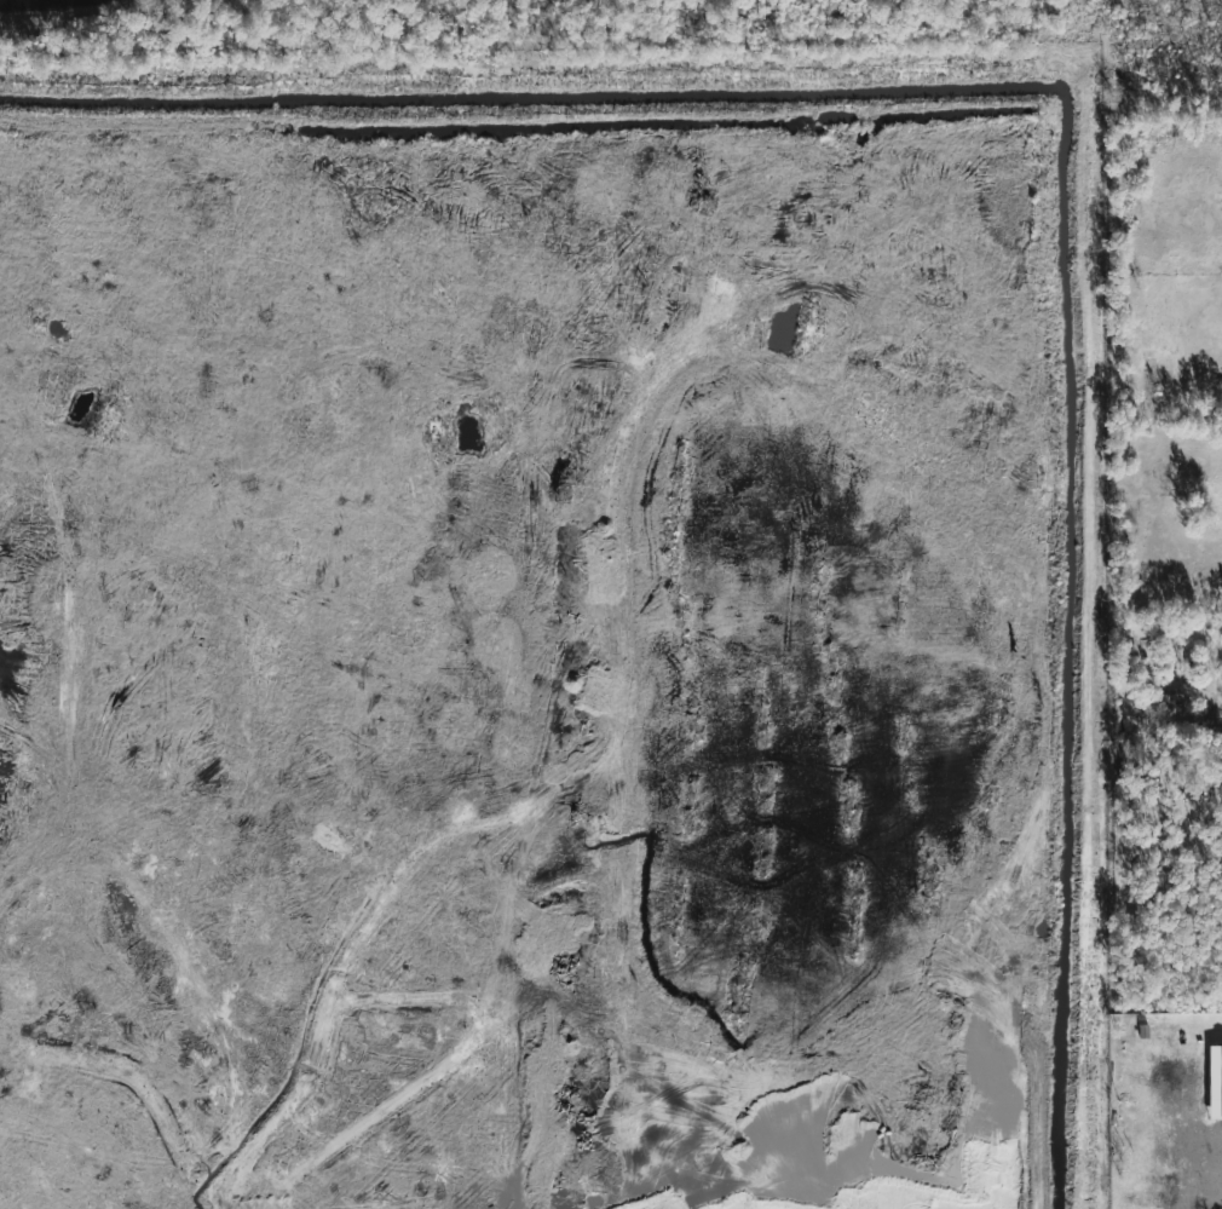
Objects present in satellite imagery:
building: (1215, 1083)

